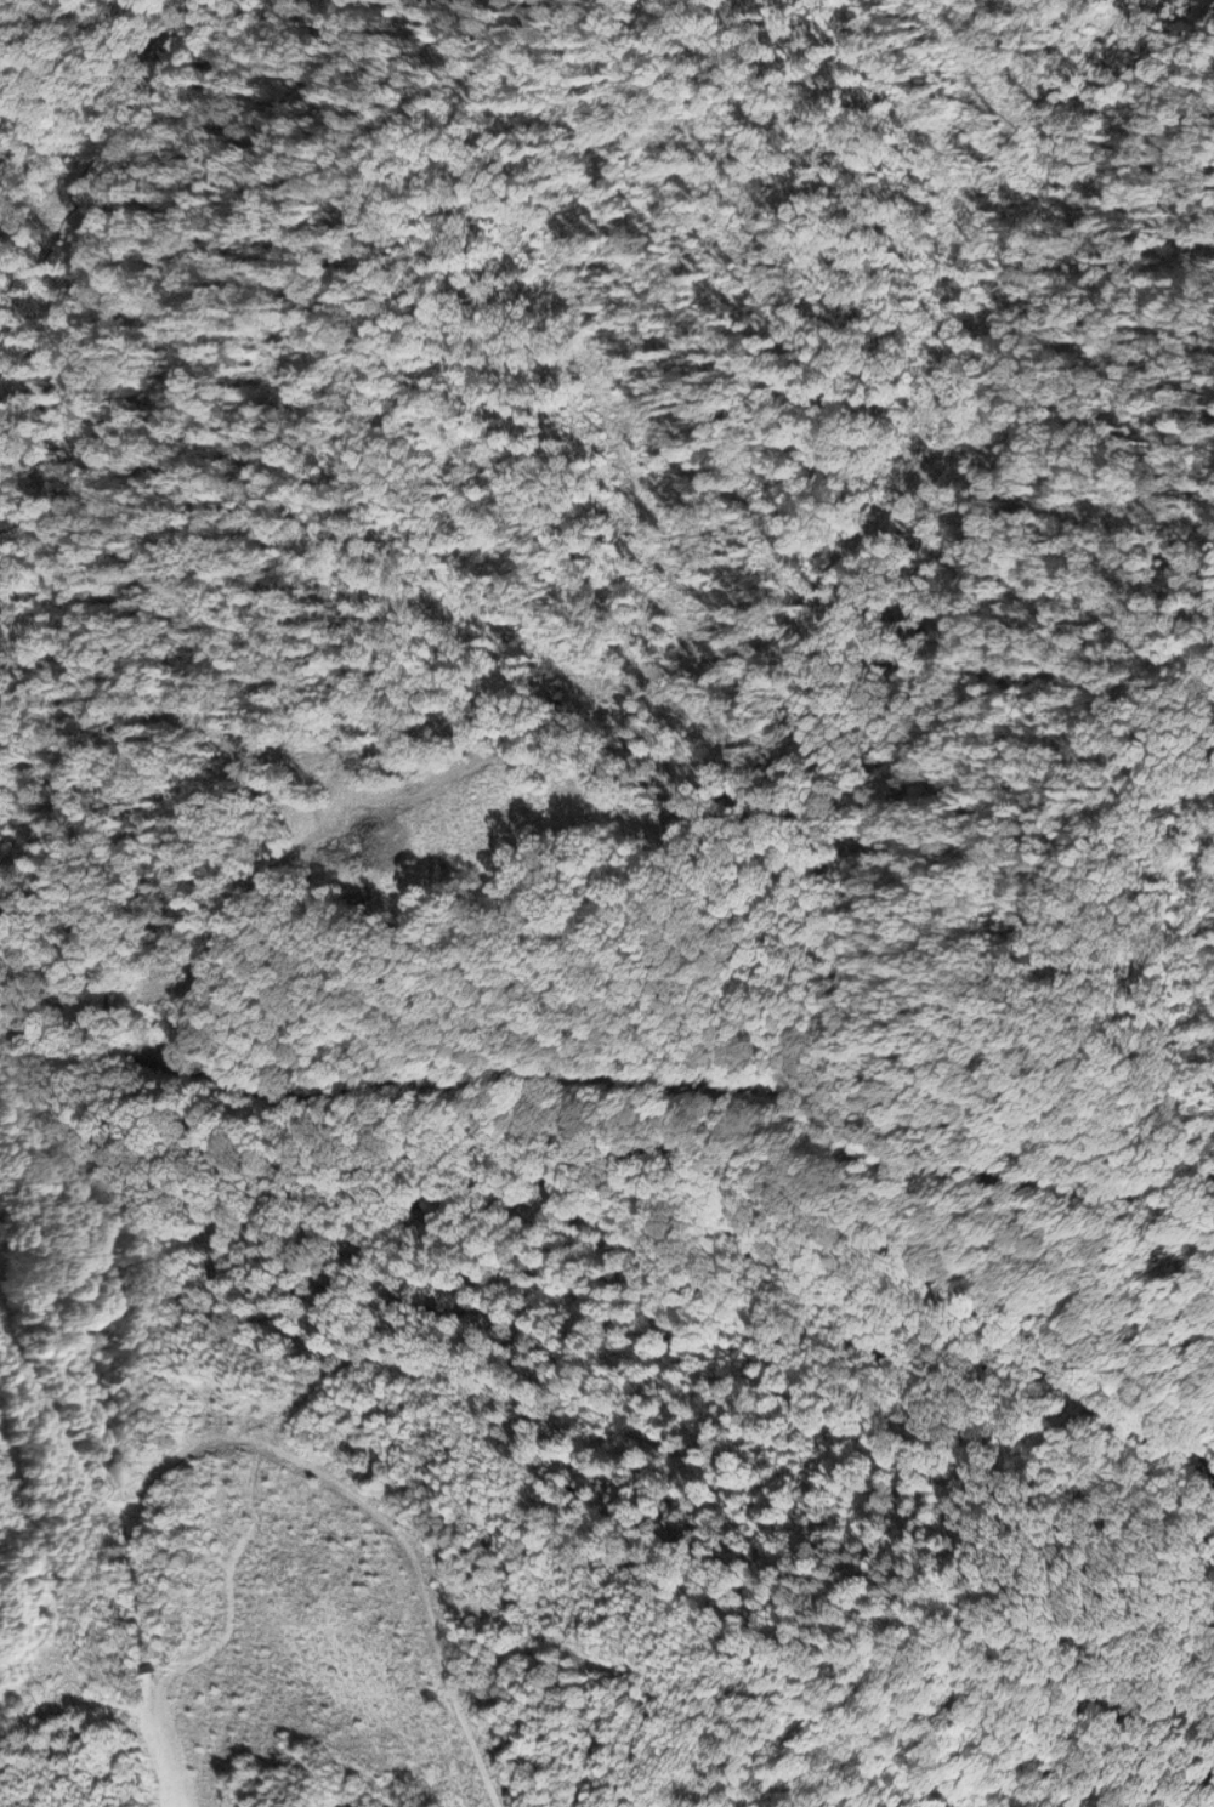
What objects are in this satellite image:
road: (301, 1089)
road: (907, 1170)

